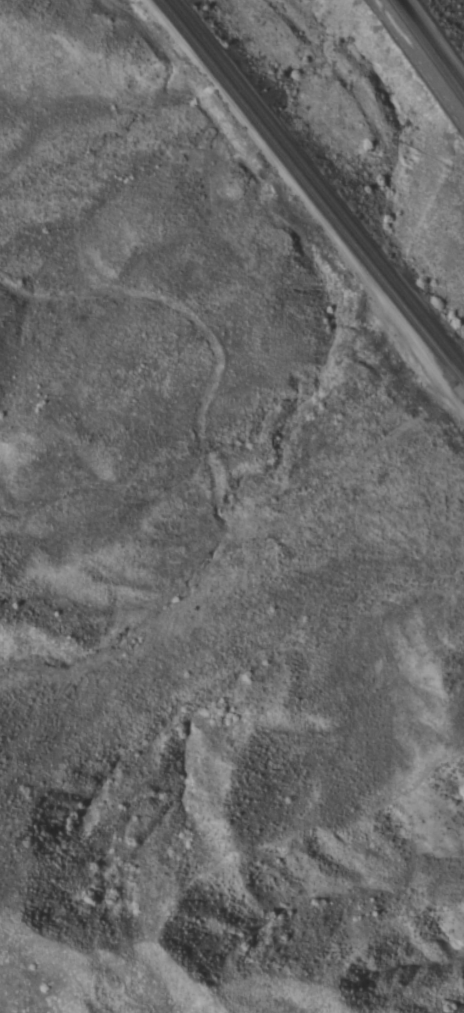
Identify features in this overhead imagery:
railway: (431, 45)
railway: (425, 53)
railway: (317, 182)
railway: (311, 190)
road: (306, 203)
road: (455, 393)

